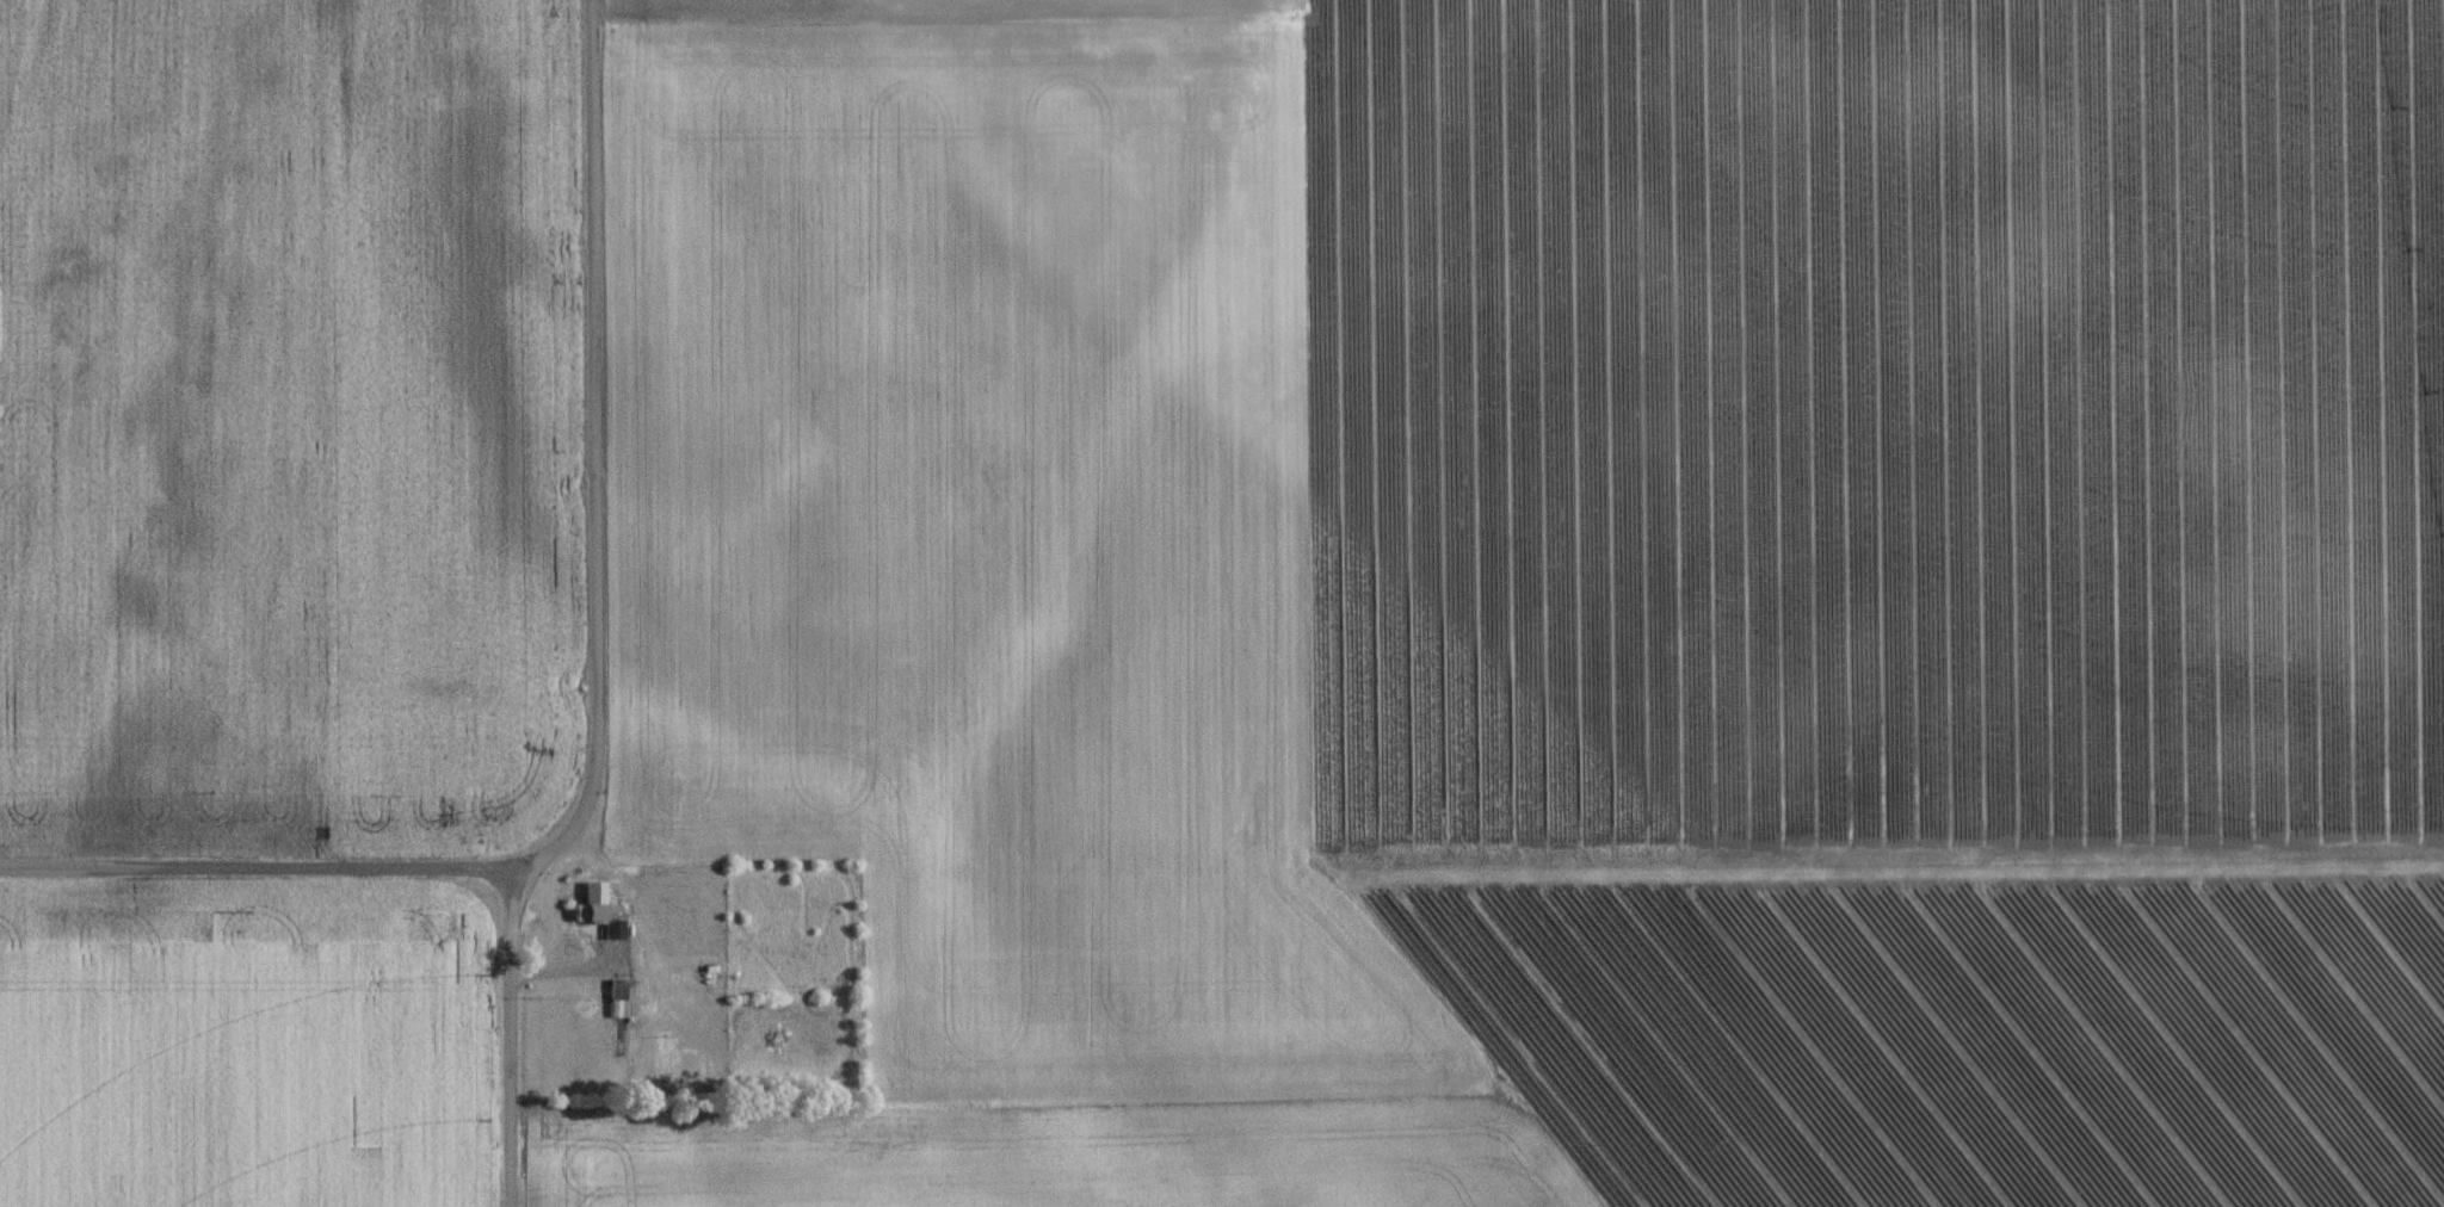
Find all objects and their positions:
road: (598, 713)
building: (587, 922)
building: (615, 939)
building: (617, 1009)
road: (514, 1041)

